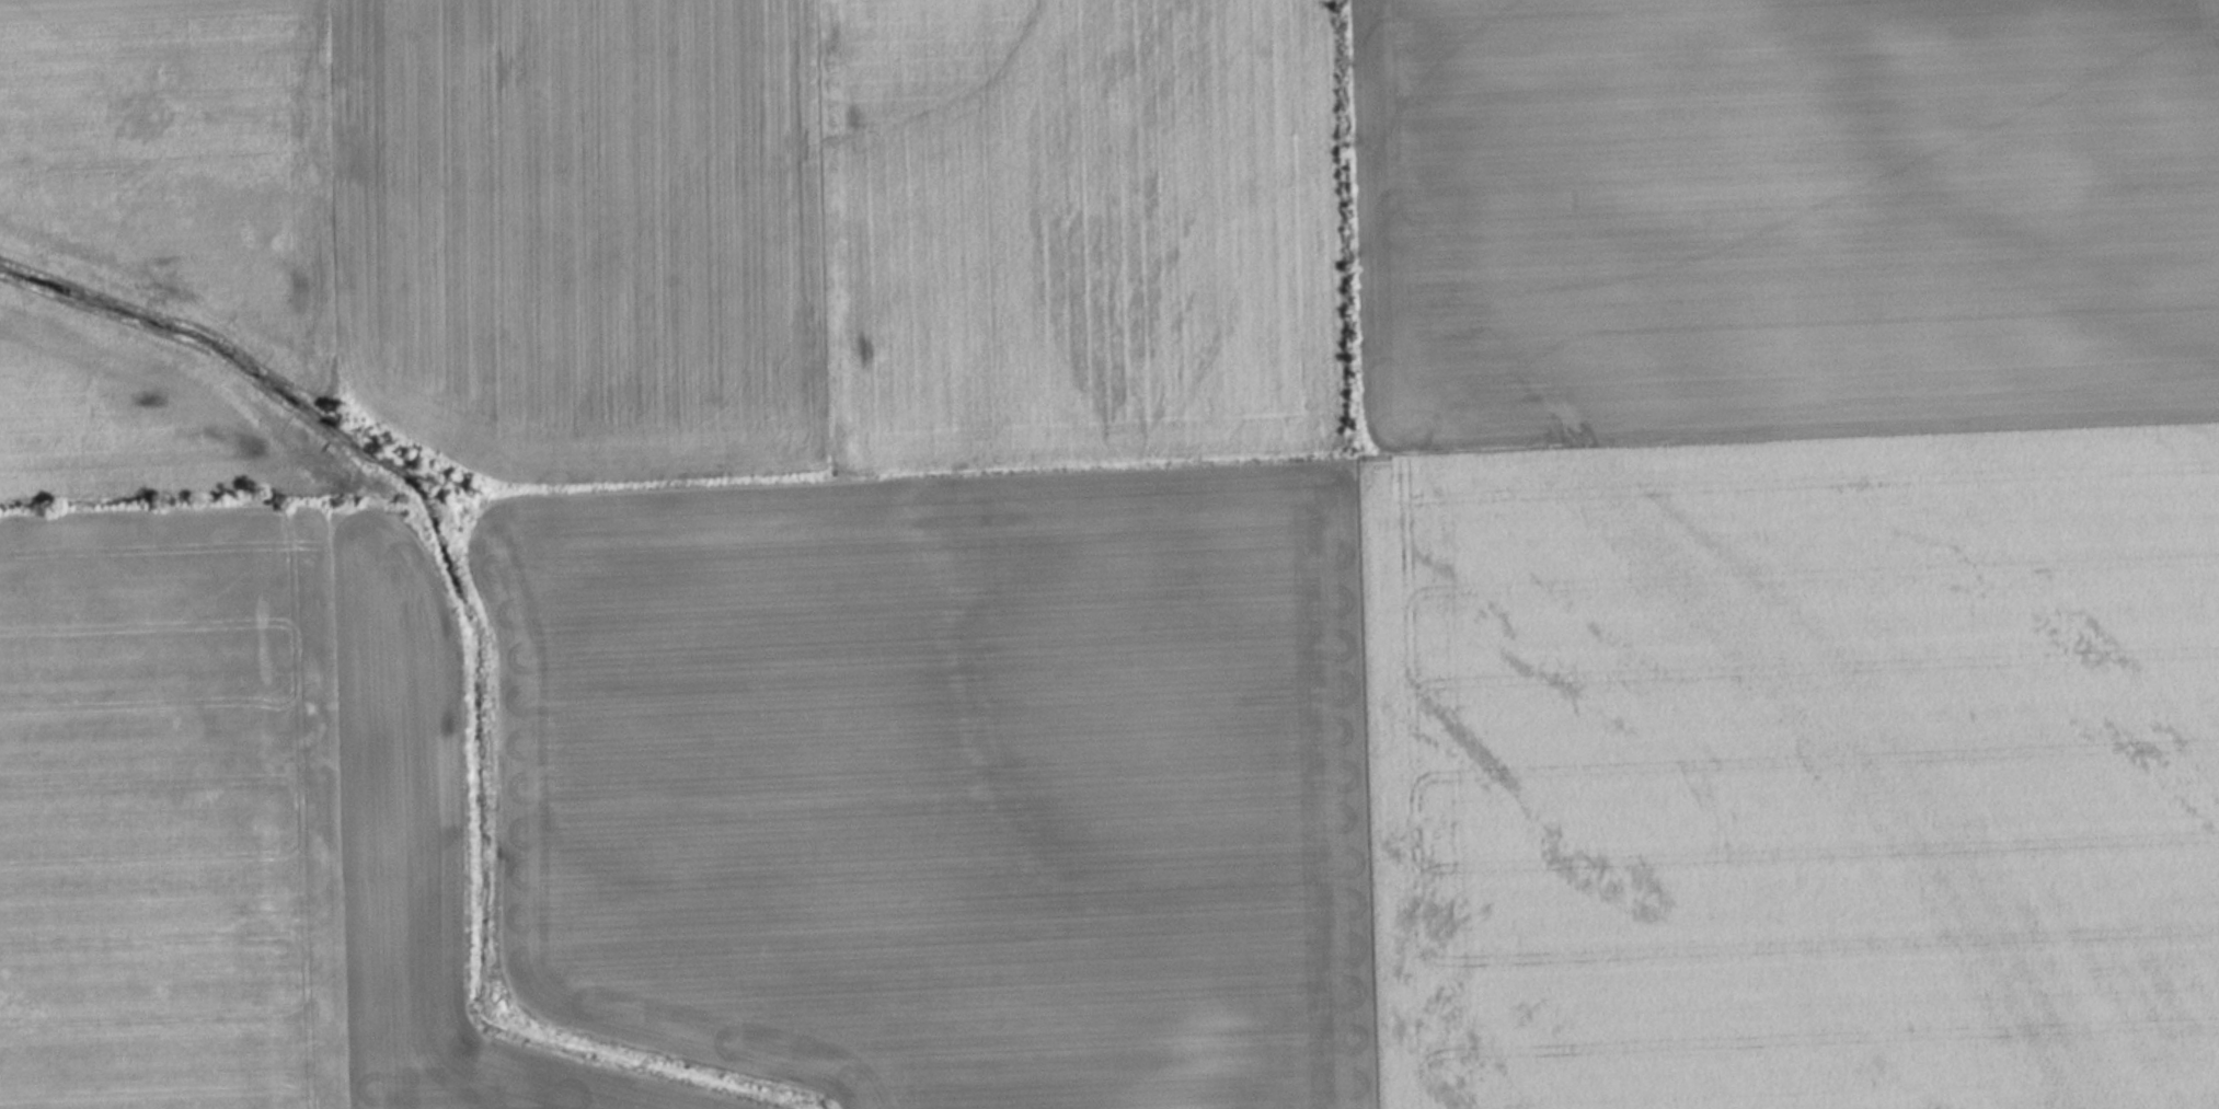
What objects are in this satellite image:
crop: (1109, 554)

